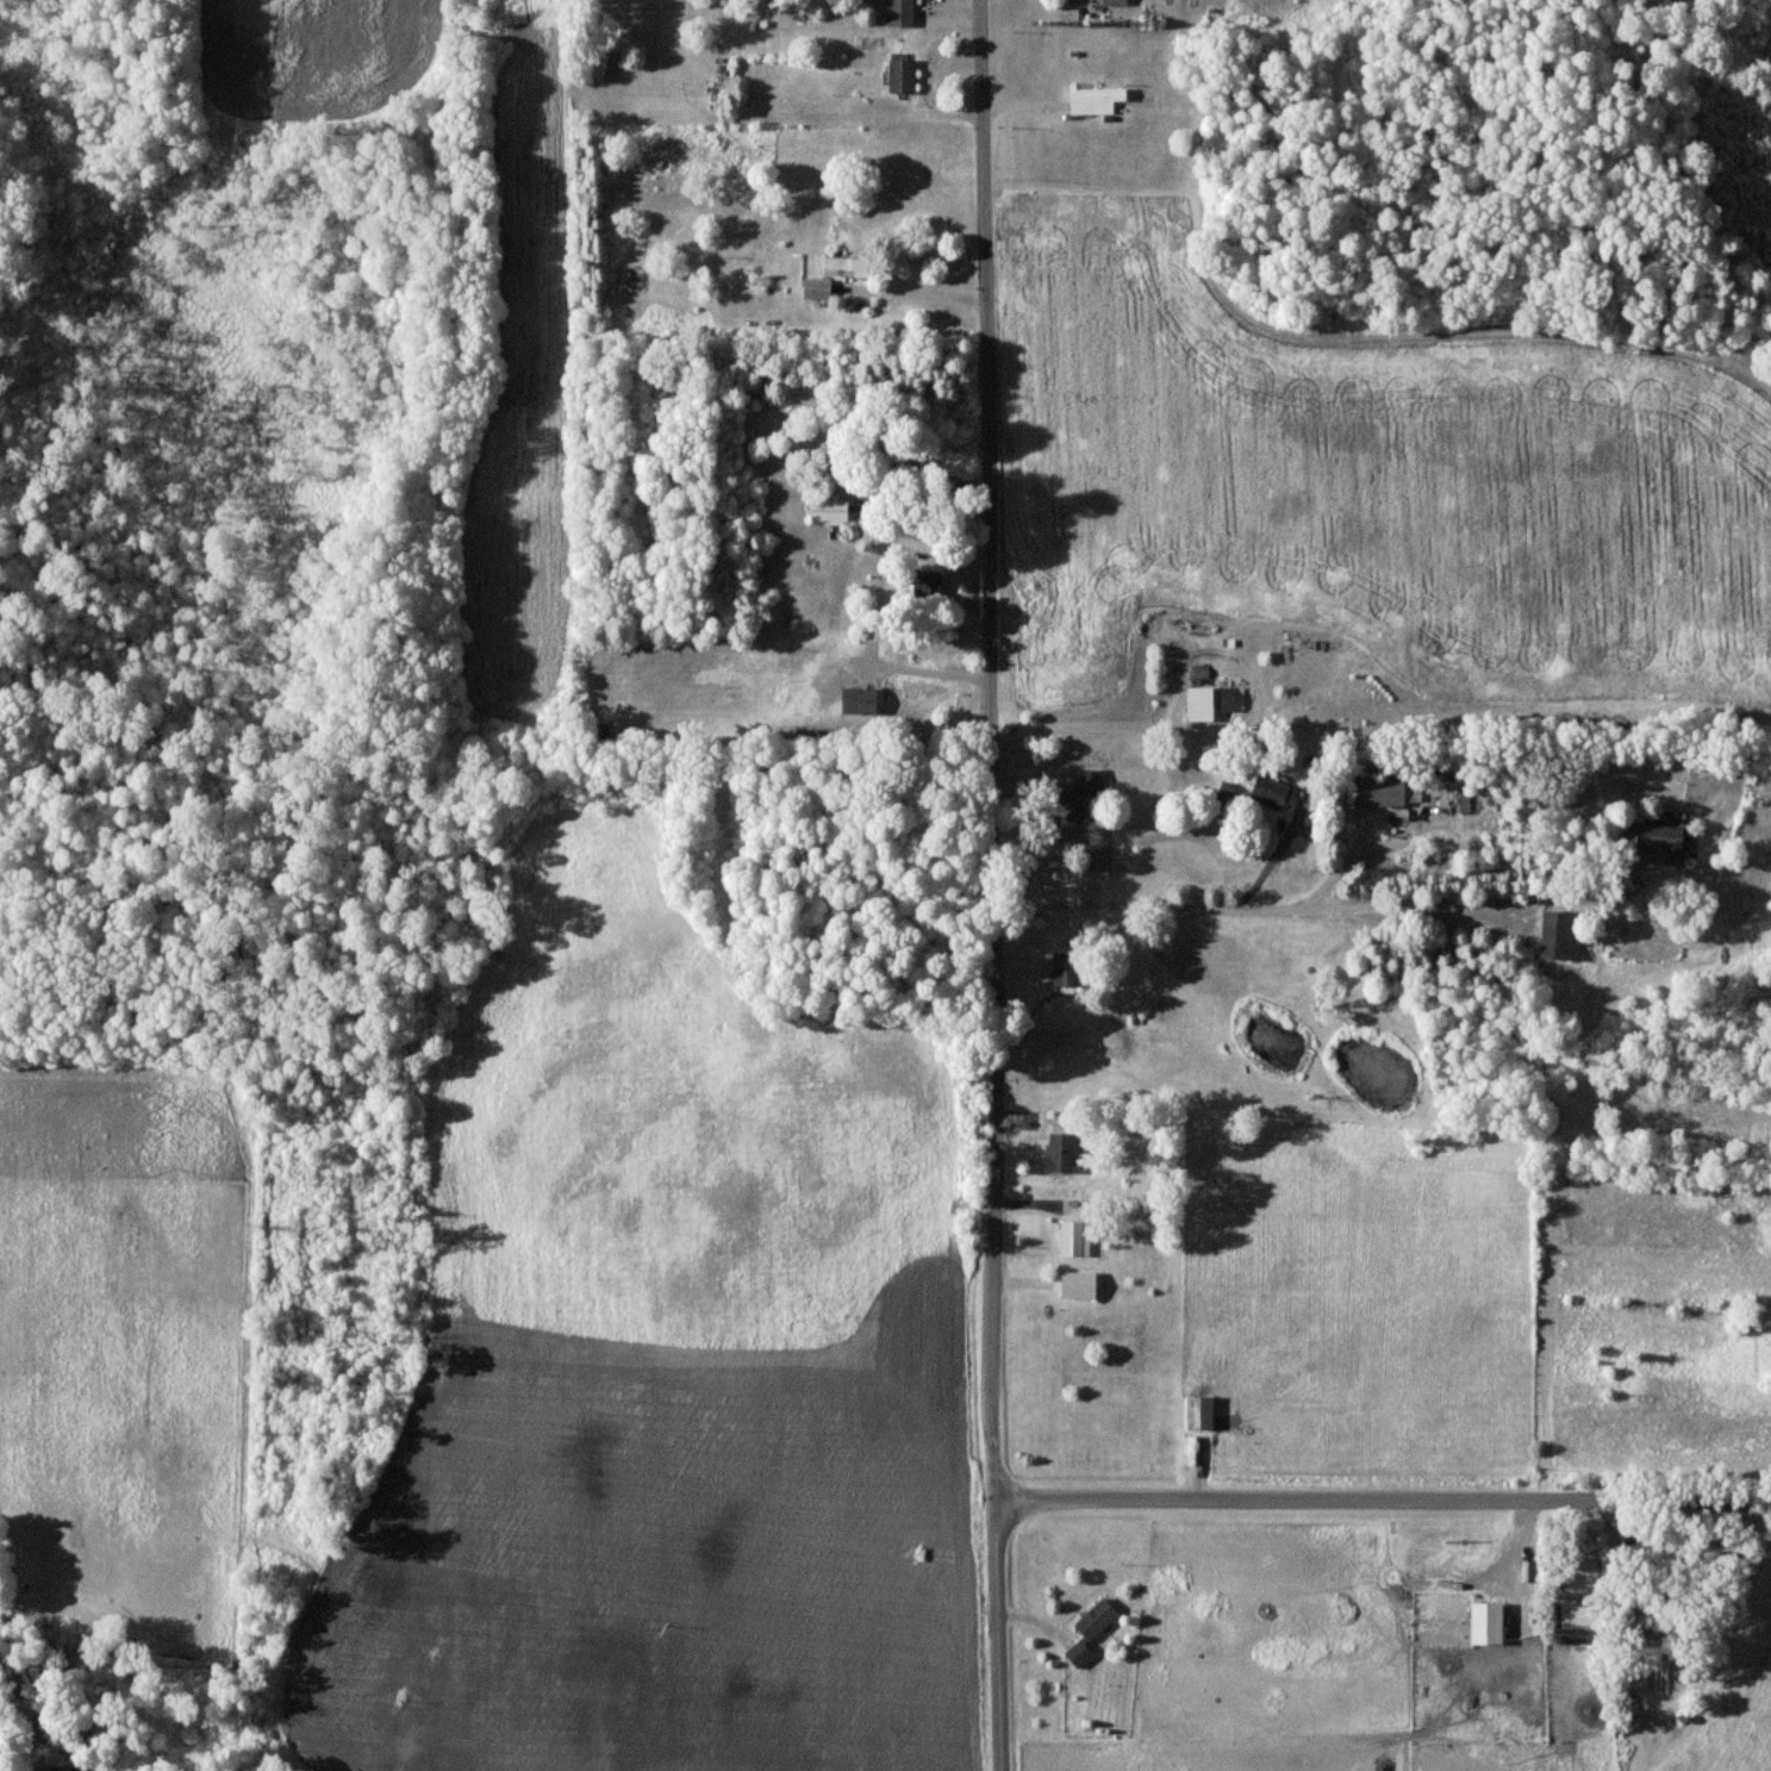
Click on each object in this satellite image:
building: (1116, 2)
building: (903, 12)
building: (905, 75)
building: (1098, 100)
building: (855, 266)
building: (819, 288)
road: (916, 299)
building: (831, 510)
building: (1234, 698)
building: (863, 700)
building: (1202, 704)
building: (1093, 782)
building: (1388, 791)
building: (1226, 792)
building: (1272, 792)
building: (1079, 812)
building: (1659, 836)
road: (992, 885)
road: (1330, 909)
building: (1561, 936)
building: (1068, 968)
building: (1062, 1153)
building: (1075, 1239)
building: (1081, 1285)
building: (1204, 1414)
road: (1383, 1499)
building: (1588, 1616)
building: (1491, 1623)
building: (1093, 1630)
building: (46, 1770)

